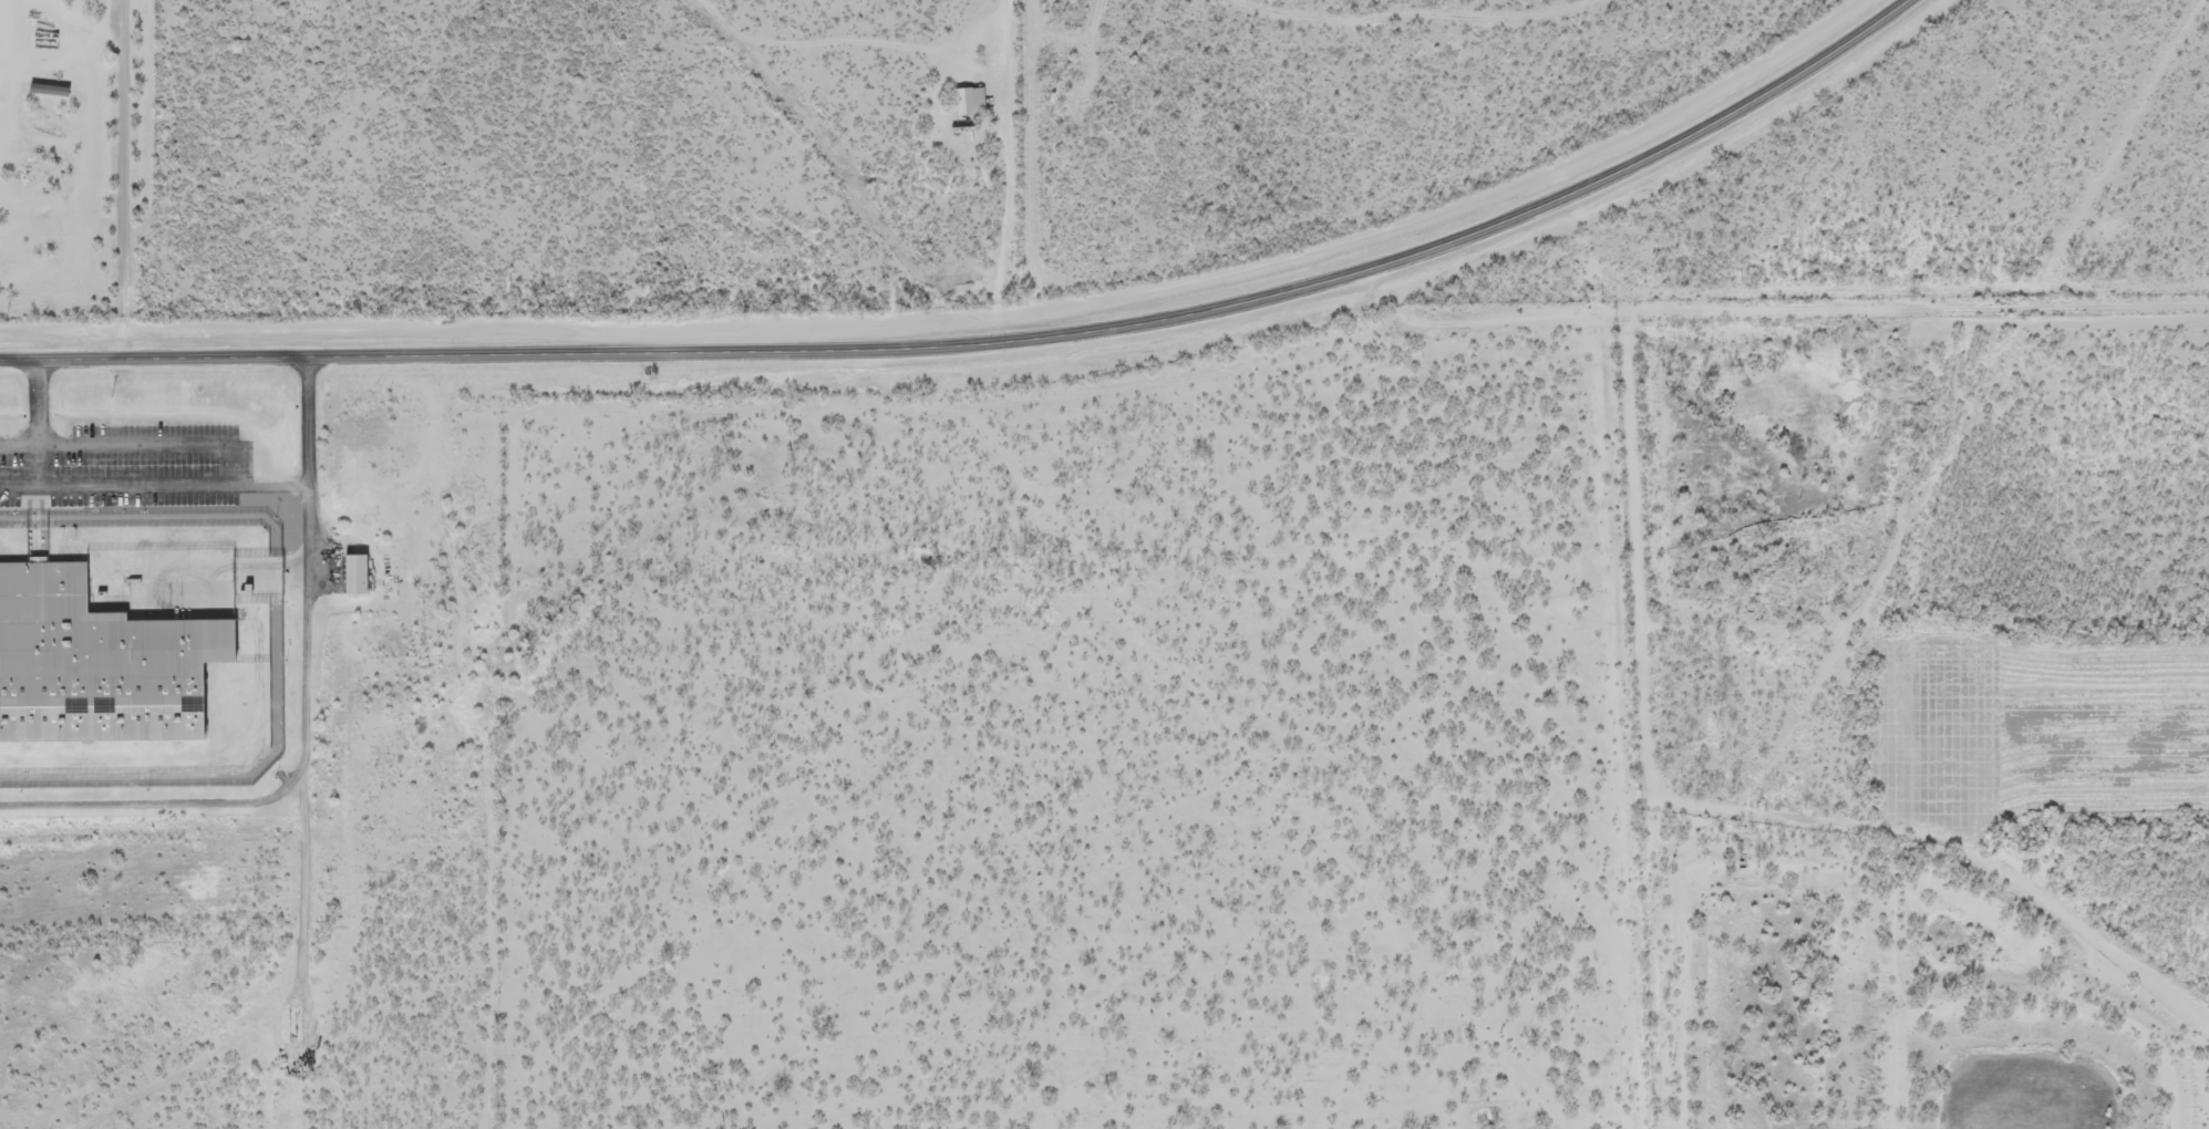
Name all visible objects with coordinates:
building: (968, 101)
road: (833, 165)
road: (1005, 169)
road: (148, 178)
road: (994, 339)
building: (352, 574)
airport: (1941, 601)
building: (90, 663)

